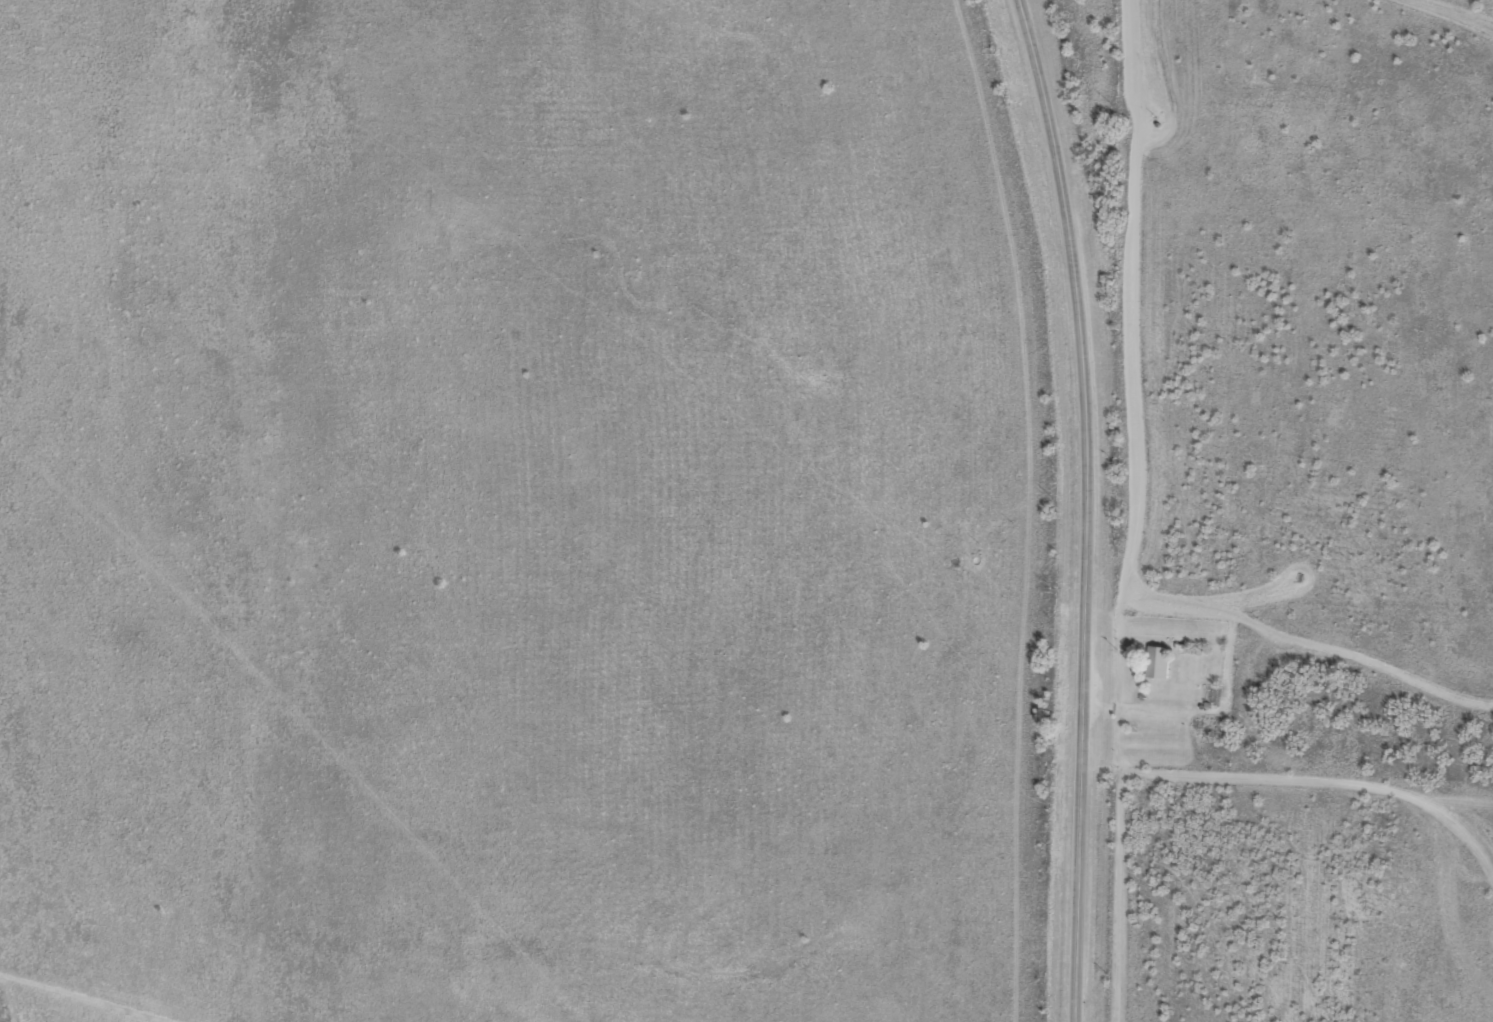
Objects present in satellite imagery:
road: (1088, 507)
building: (1158, 662)

